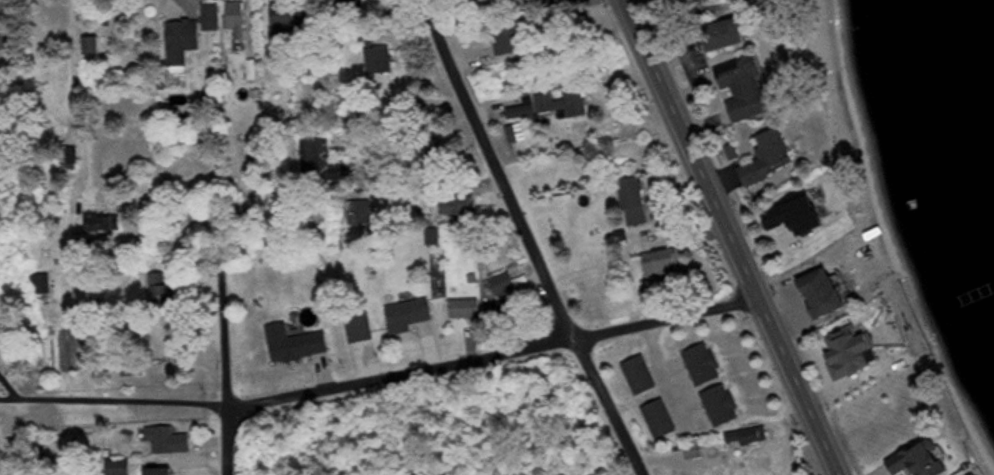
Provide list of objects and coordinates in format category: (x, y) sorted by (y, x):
building: (519, 4)
road: (628, 6)
road: (630, 6)
building: (290, 17)
building: (215, 18)
building: (237, 18)
building: (730, 35)
building: (5, 41)
building: (513, 41)
building: (186, 42)
building: (95, 46)
building: (381, 62)
building: (750, 88)
building: (564, 103)
building: (319, 157)
building: (772, 160)
building: (638, 203)
building: (459, 205)
building: (361, 212)
building: (106, 225)
road: (530, 237)
building: (435, 238)
road: (734, 244)
building: (665, 264)
building: (44, 285)
building: (505, 285)
building: (164, 291)
building: (831, 294)
building: (631, 305)
building: (467, 309)
building: (509, 311)
building: (410, 316)
building: (362, 329)
building: (298, 344)
building: (857, 352)
road: (498, 355)
building: (706, 365)
building: (136, 368)
building: (642, 376)
road: (226, 377)
building: (865, 401)
building: (725, 406)
building: (663, 420)
building: (917, 425)
building: (748, 437)
building: (171, 441)
road: (227, 444)
building: (886, 448)
building: (695, 452)
building: (927, 460)
building: (121, 468)
building: (164, 472)

